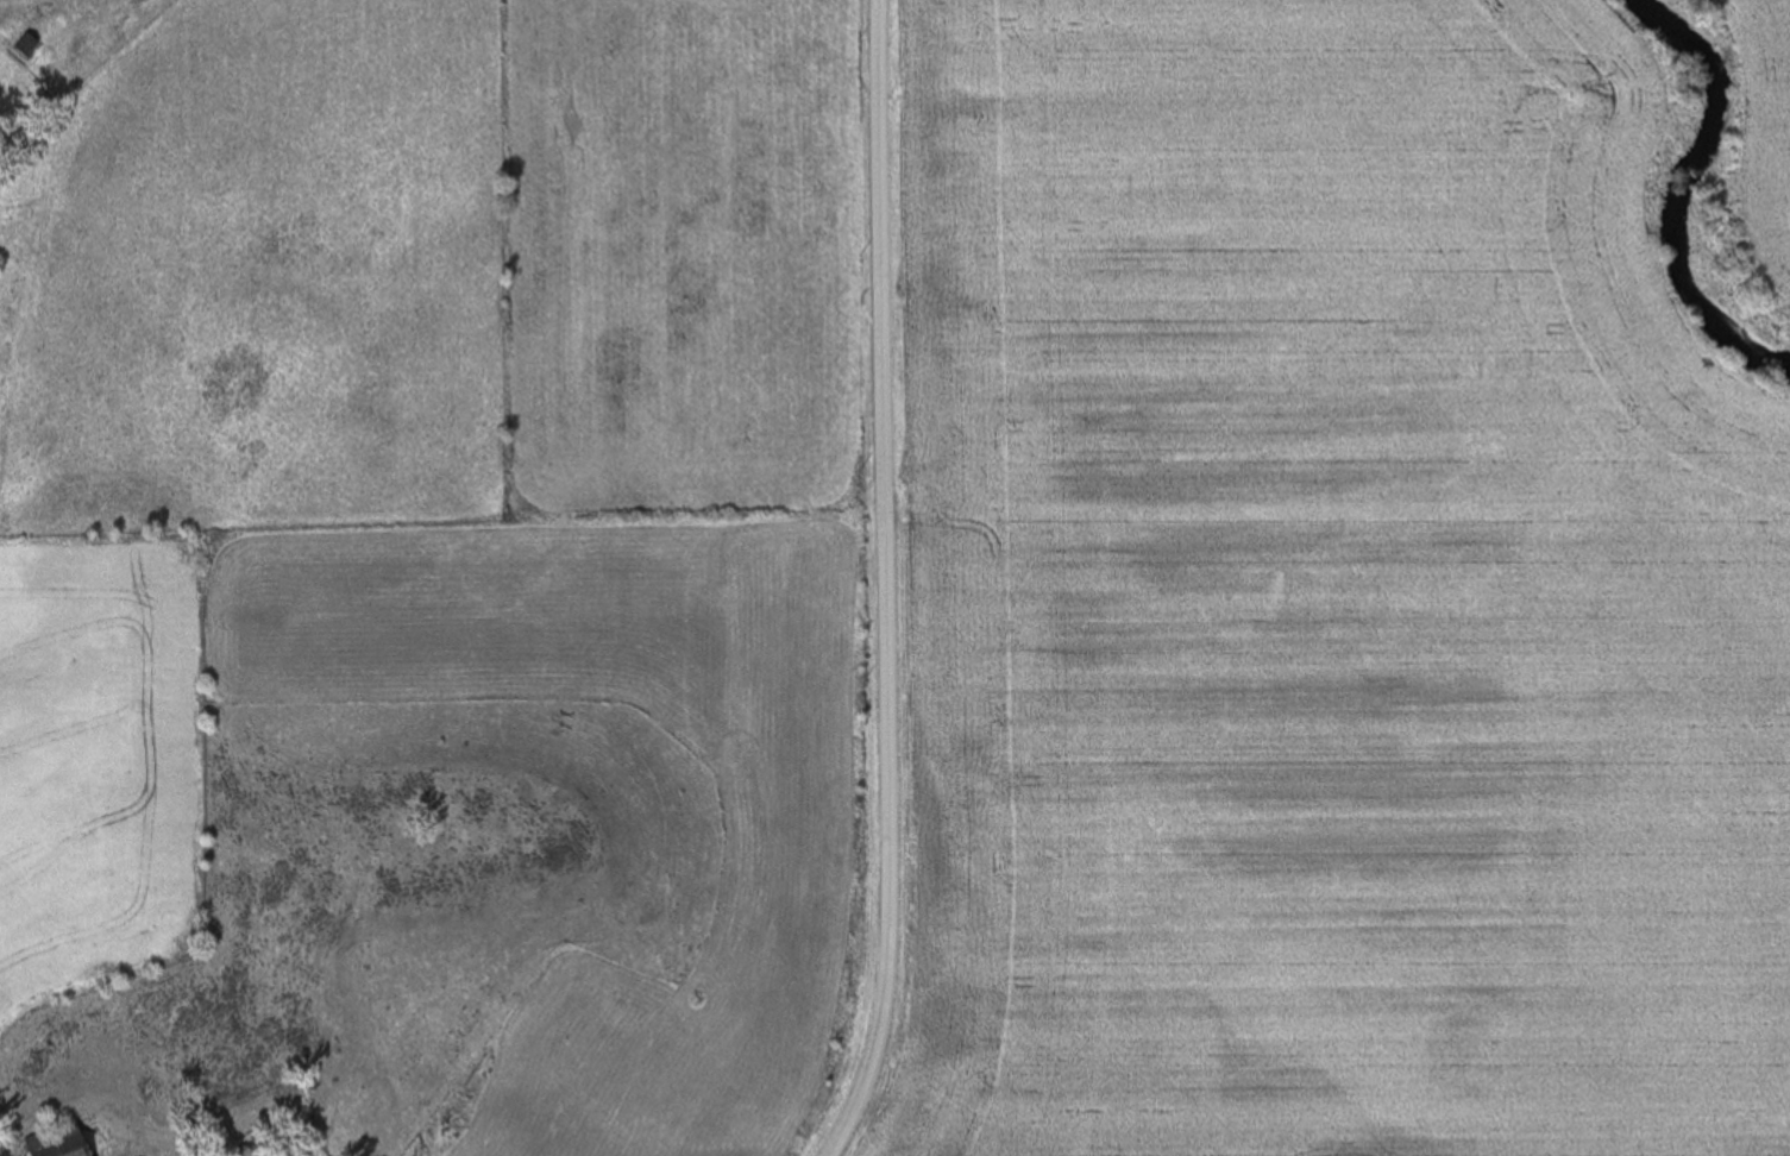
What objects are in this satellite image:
building: (26, 46)
river: (1666, 193)
road: (885, 253)
road: (896, 837)
building: (45, 1139)

